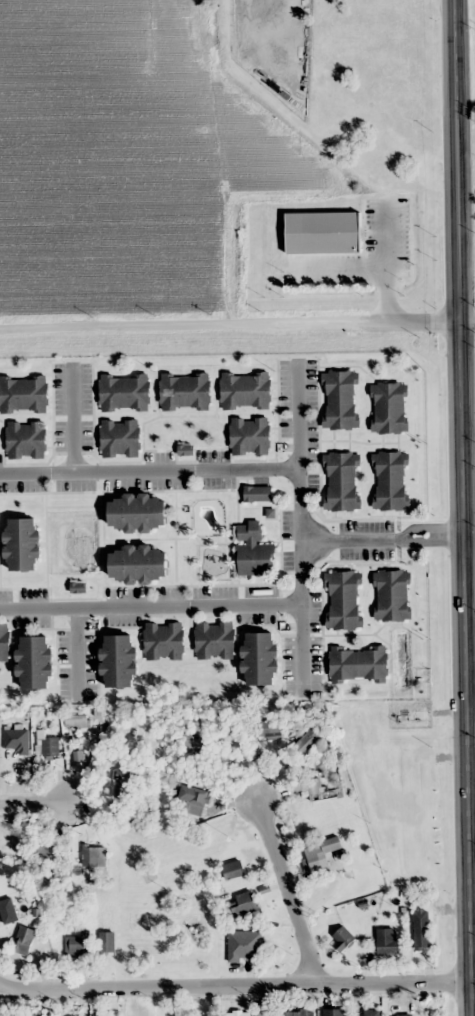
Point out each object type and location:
road: (469, 315)
road: (231, 321)
building: (246, 390)
building: (185, 391)
building: (124, 392)
building: (23, 394)
building: (340, 400)
building: (389, 408)
road: (74, 418)
building: (250, 436)
building: (120, 438)
building: (26, 440)
road: (466, 458)
road: (149, 472)
building: (391, 480)
building: (342, 481)
building: (258, 493)
building: (137, 513)
road: (300, 521)
road: (384, 535)
building: (23, 544)
building: (253, 550)
building: (139, 564)
building: (392, 596)
building: (343, 600)
road: (150, 607)
building: (215, 640)
building: (164, 641)
building: (4, 642)
road: (78, 652)
building: (261, 659)
building: (118, 660)
building: (35, 662)
building: (359, 664)
road: (473, 693)
building: (77, 720)
building: (271, 727)
building: (191, 740)
building: (309, 740)
building: (47, 743)
building: (316, 788)
road: (41, 792)
building: (195, 799)
building: (47, 852)
building: (322, 852)
building: (93, 855)
building: (235, 869)
road: (291, 887)
building: (245, 904)
building: (421, 928)
building: (342, 938)
building: (24, 940)
building: (387, 940)
building: (107, 941)
building: (78, 944)
building: (245, 946)
road: (236, 979)
building: (269, 1012)
building: (334, 1012)
building: (372, 1012)
building: (239, 1013)
building: (300, 1013)
building: (404, 1015)

